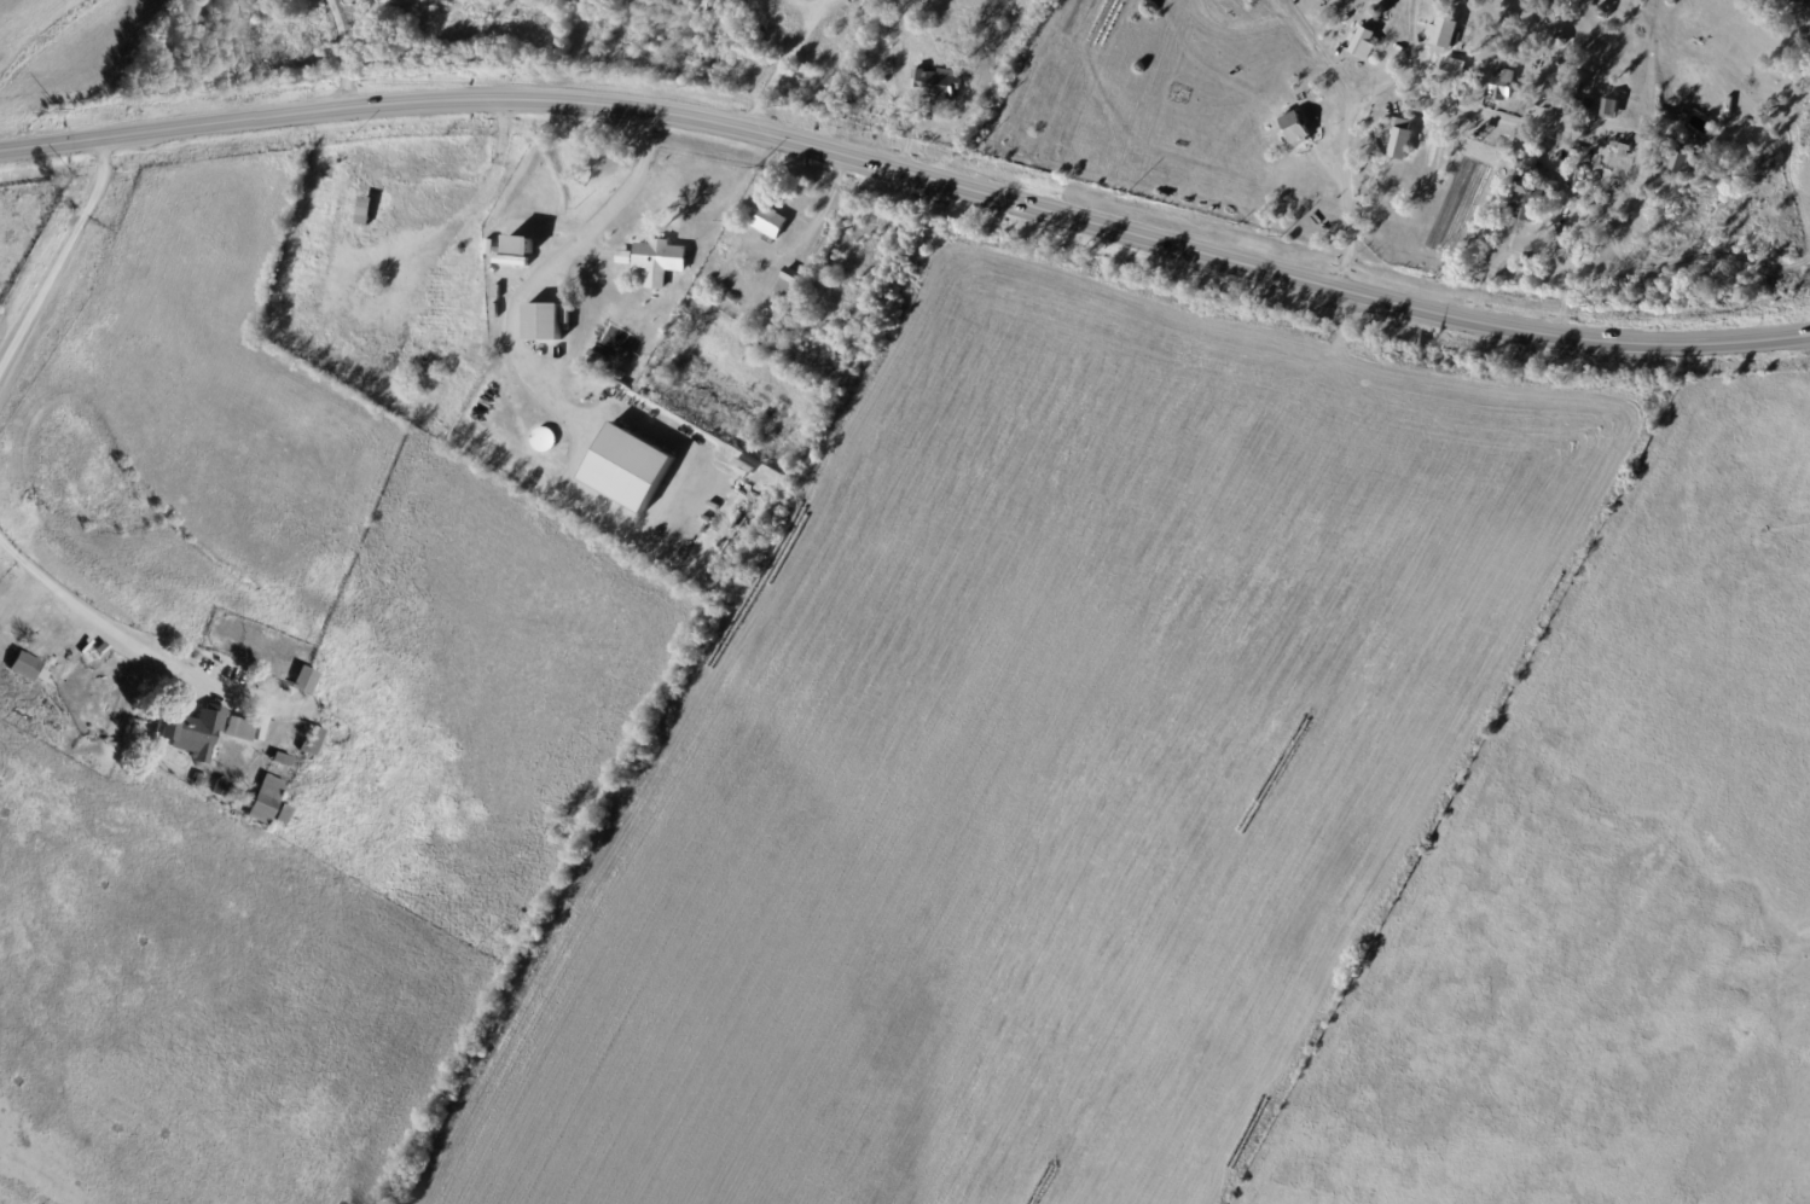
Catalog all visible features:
building: (708, 10)
building: (1441, 30)
road: (1410, 39)
building: (1564, 40)
building: (1362, 42)
road: (1319, 51)
road: (344, 53)
road: (784, 64)
building: (1474, 78)
building: (940, 85)
road: (1377, 85)
building: (1503, 86)
building: (1573, 87)
building: (1521, 89)
building: (1574, 109)
building: (1294, 128)
building: (1400, 138)
building: (1625, 147)
building: (1578, 150)
building: (1554, 159)
building: (1518, 162)
building: (1686, 165)
road: (910, 173)
building: (1579, 180)
building: (1532, 197)
building: (1607, 198)
road: (469, 208)
building: (366, 210)
building: (772, 222)
road: (1560, 226)
building: (522, 246)
building: (623, 256)
road: (1687, 256)
road: (59, 257)
building: (514, 261)
building: (661, 261)
road: (547, 271)
building: (789, 281)
building: (778, 304)
building: (644, 320)
building: (544, 324)
park: (823, 354)
building: (543, 440)
building: (628, 466)
building: (764, 487)
road: (114, 629)
building: (25, 668)
building: (306, 681)
building: (239, 731)
building: (193, 733)
building: (313, 744)
building: (283, 761)
building: (201, 783)
building: (221, 790)
building: (266, 802)
building: (284, 816)

